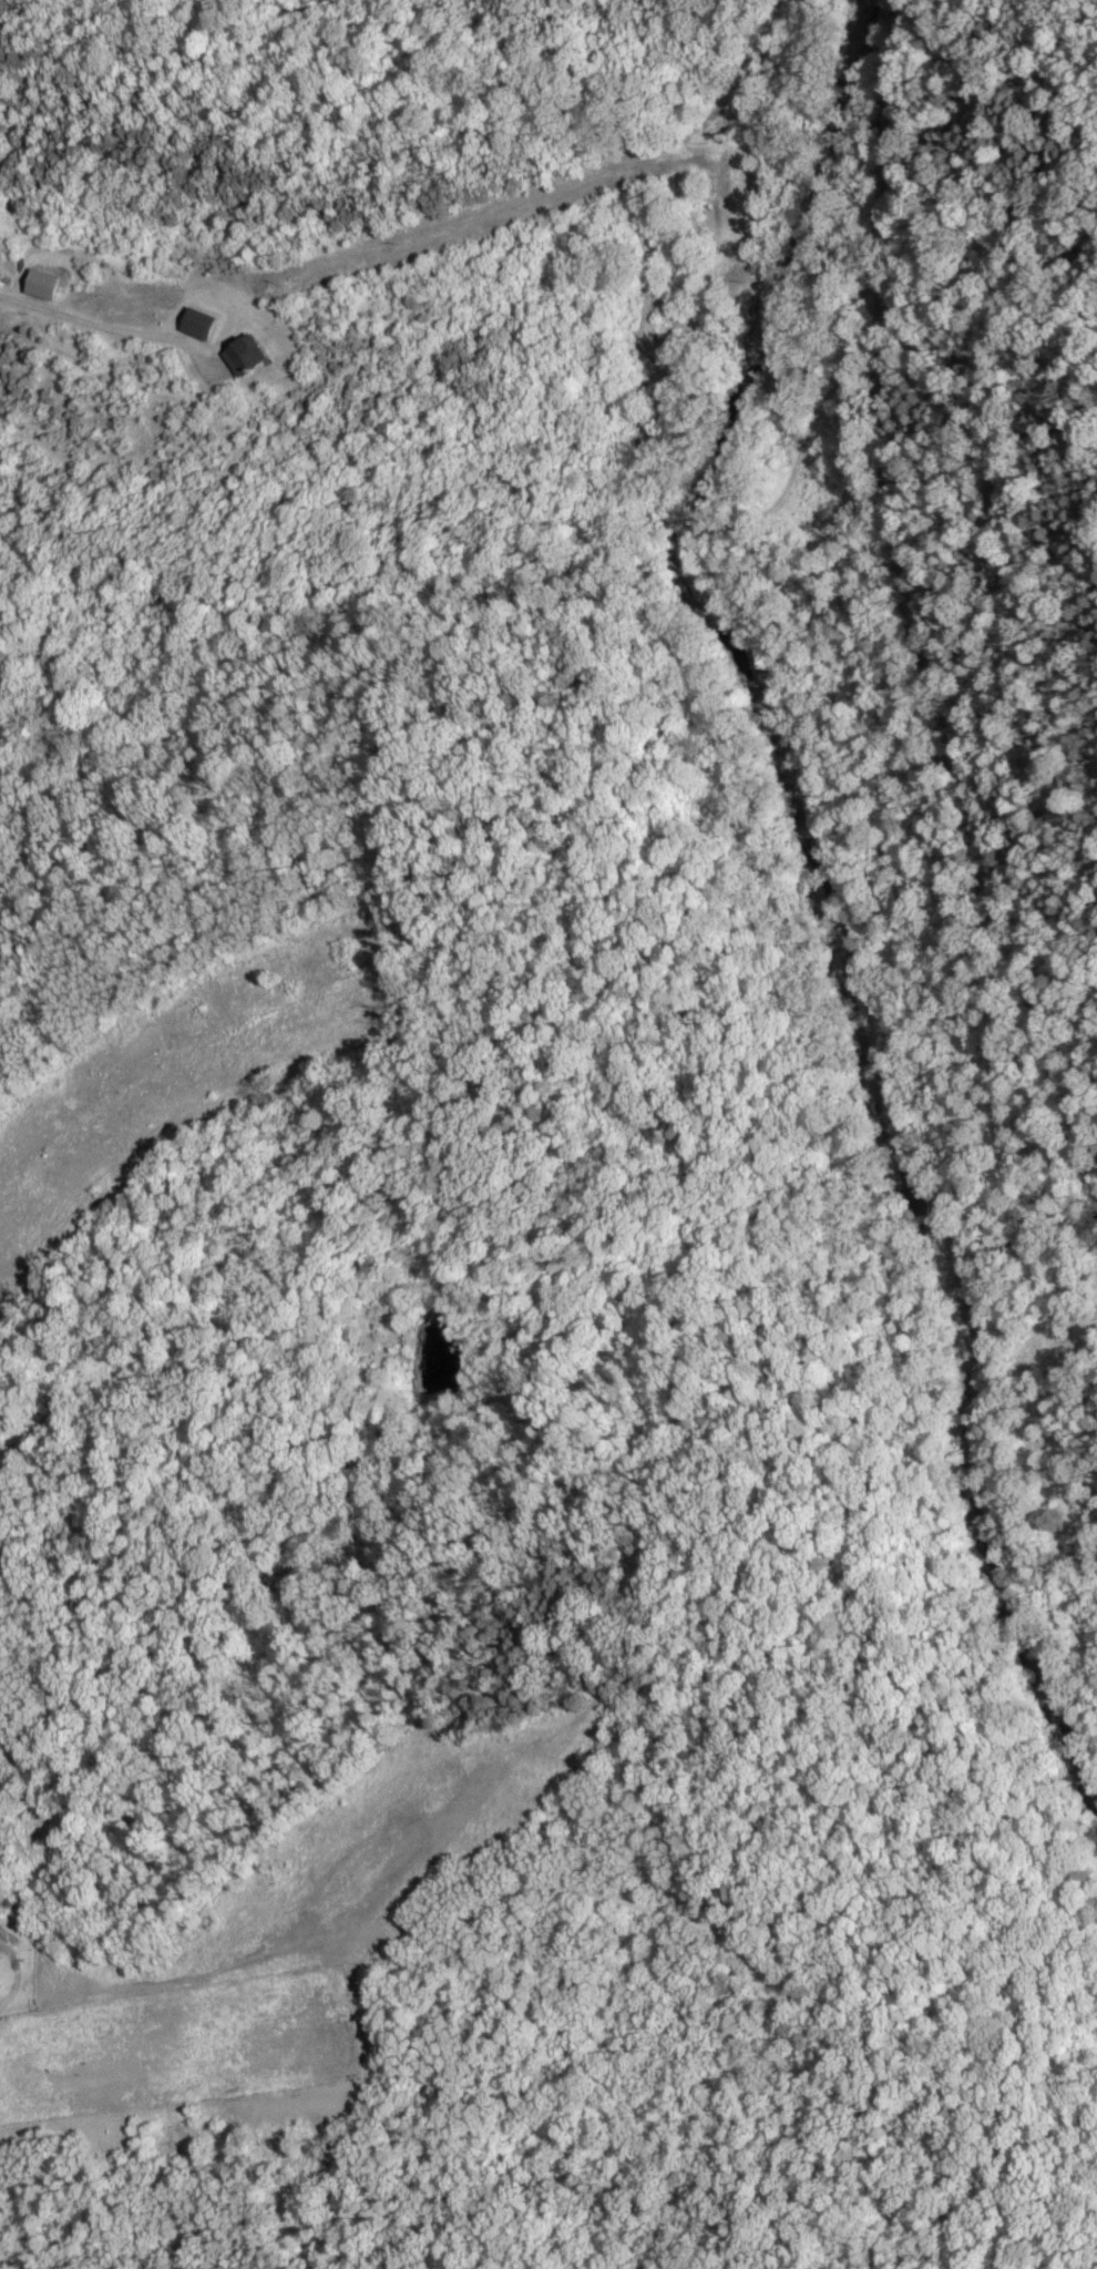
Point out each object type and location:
building: (44, 286)
building: (201, 325)
building: (246, 358)
road: (905, 591)

